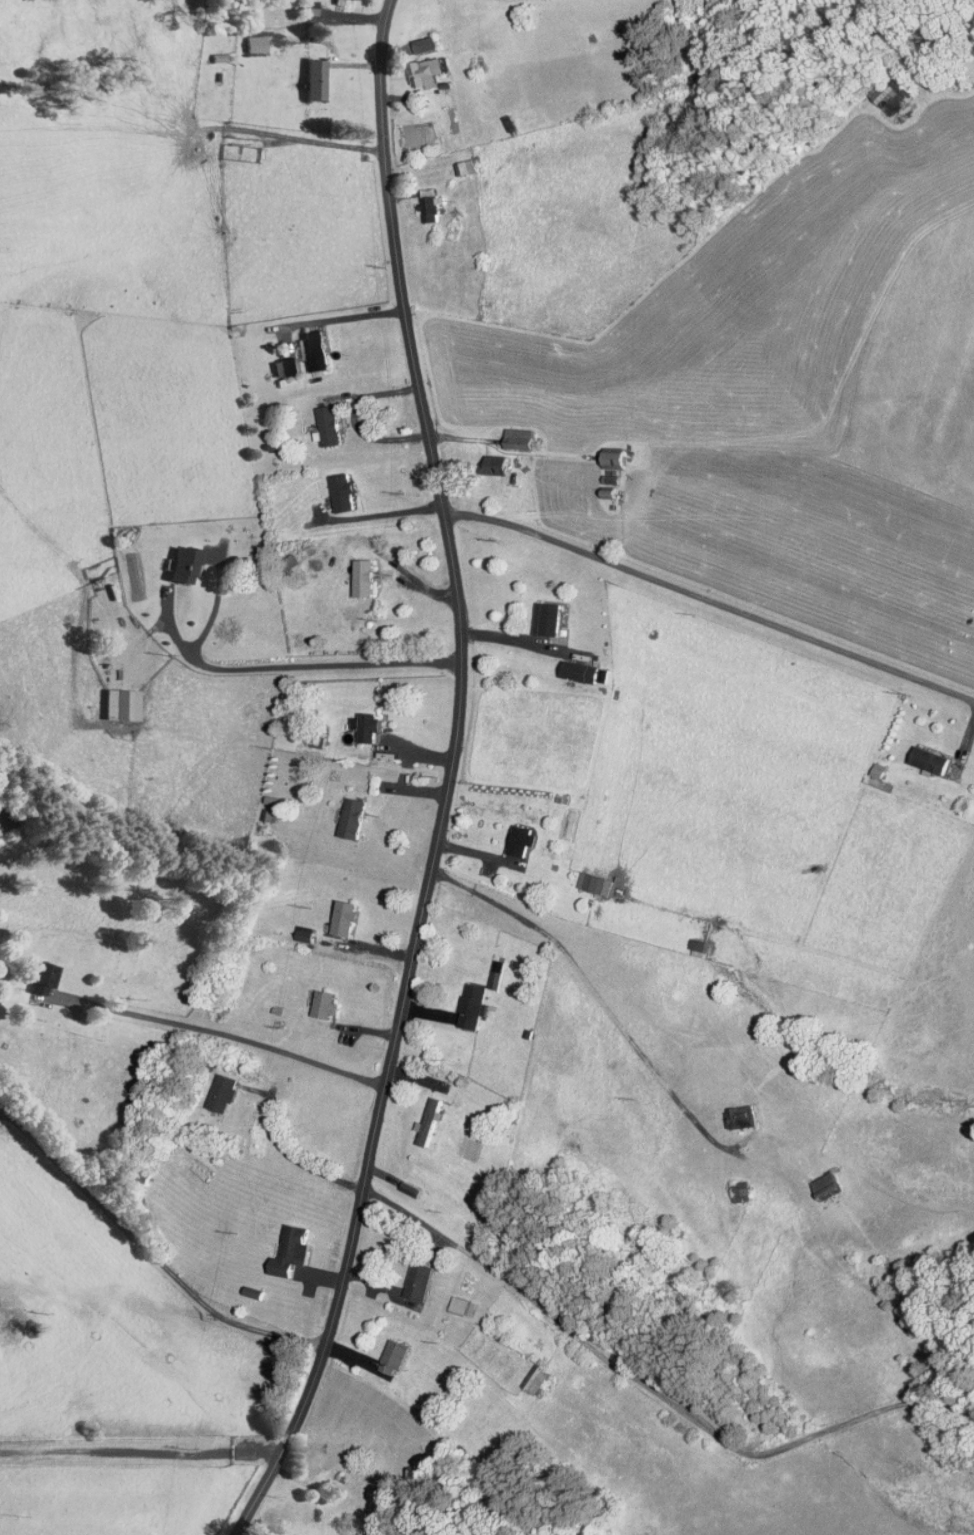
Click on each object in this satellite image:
road: (310, 141)
road: (542, 429)
road: (710, 600)
road: (522, 642)
road: (296, 666)
road: (449, 780)
road: (597, 996)
road: (234, 1038)
road: (285, 1152)
road: (150, 1252)
road: (652, 1388)

